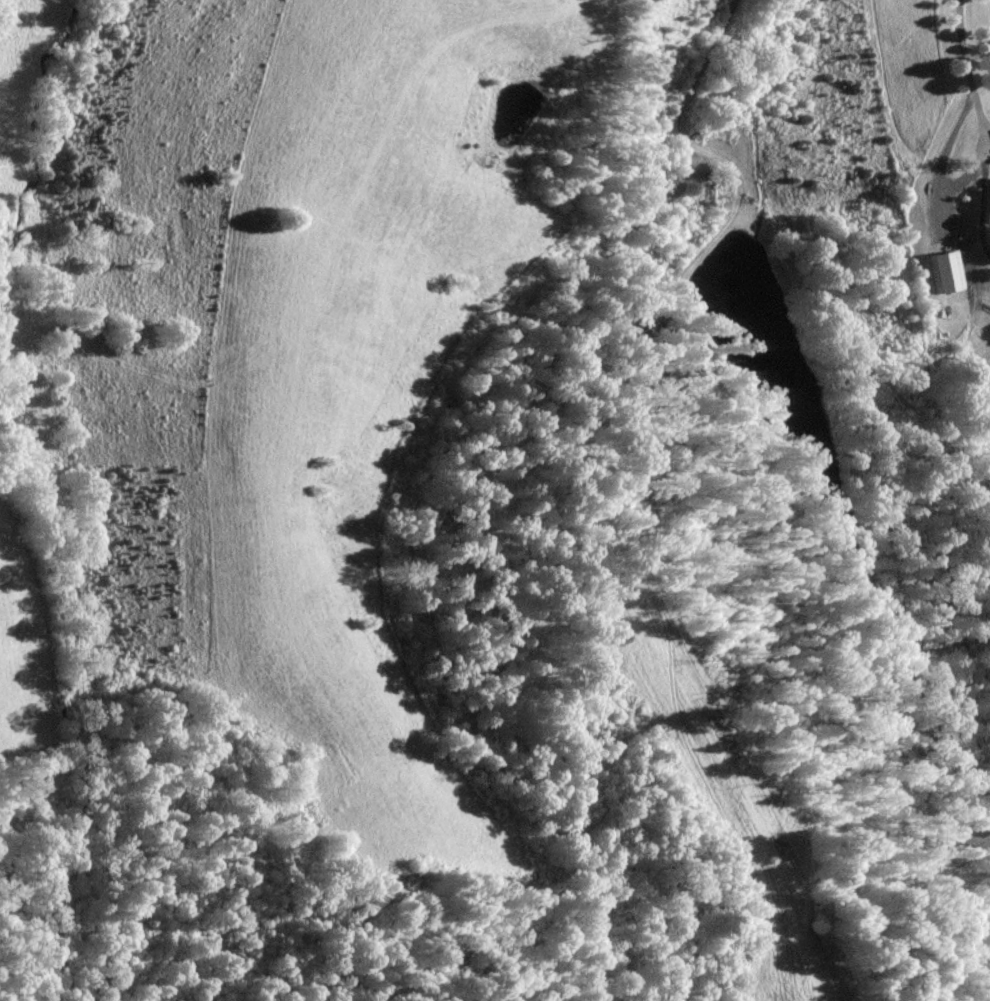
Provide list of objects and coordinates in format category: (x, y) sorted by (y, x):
road: (978, 131)
road: (718, 157)
building: (944, 271)
building: (659, 329)

